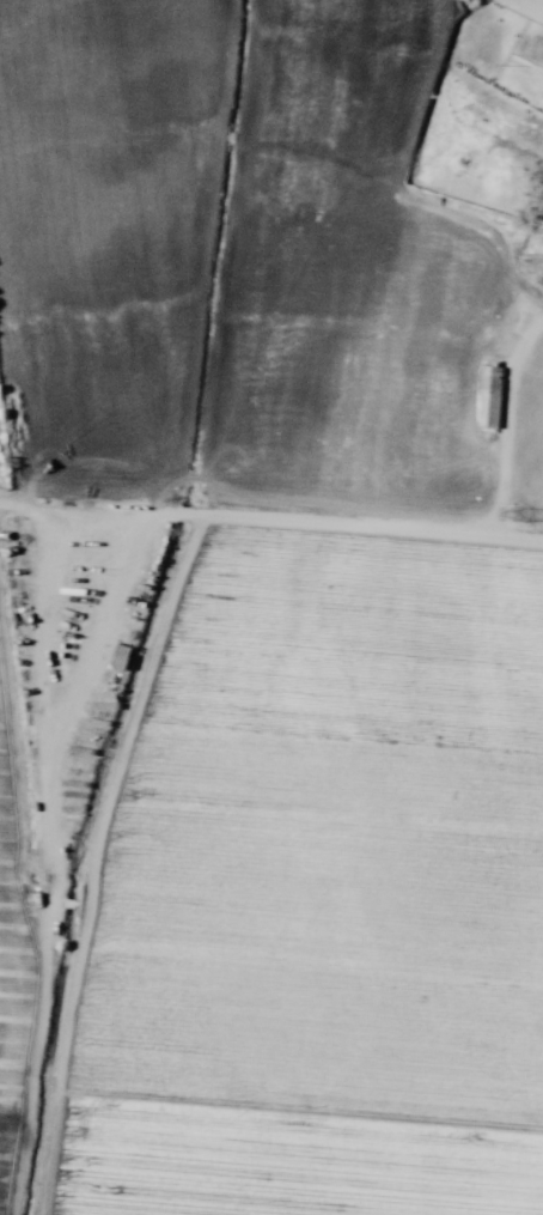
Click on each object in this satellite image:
road: (542, 304)
power tower: (519, 514)
road: (270, 527)
crop: (268, 868)

